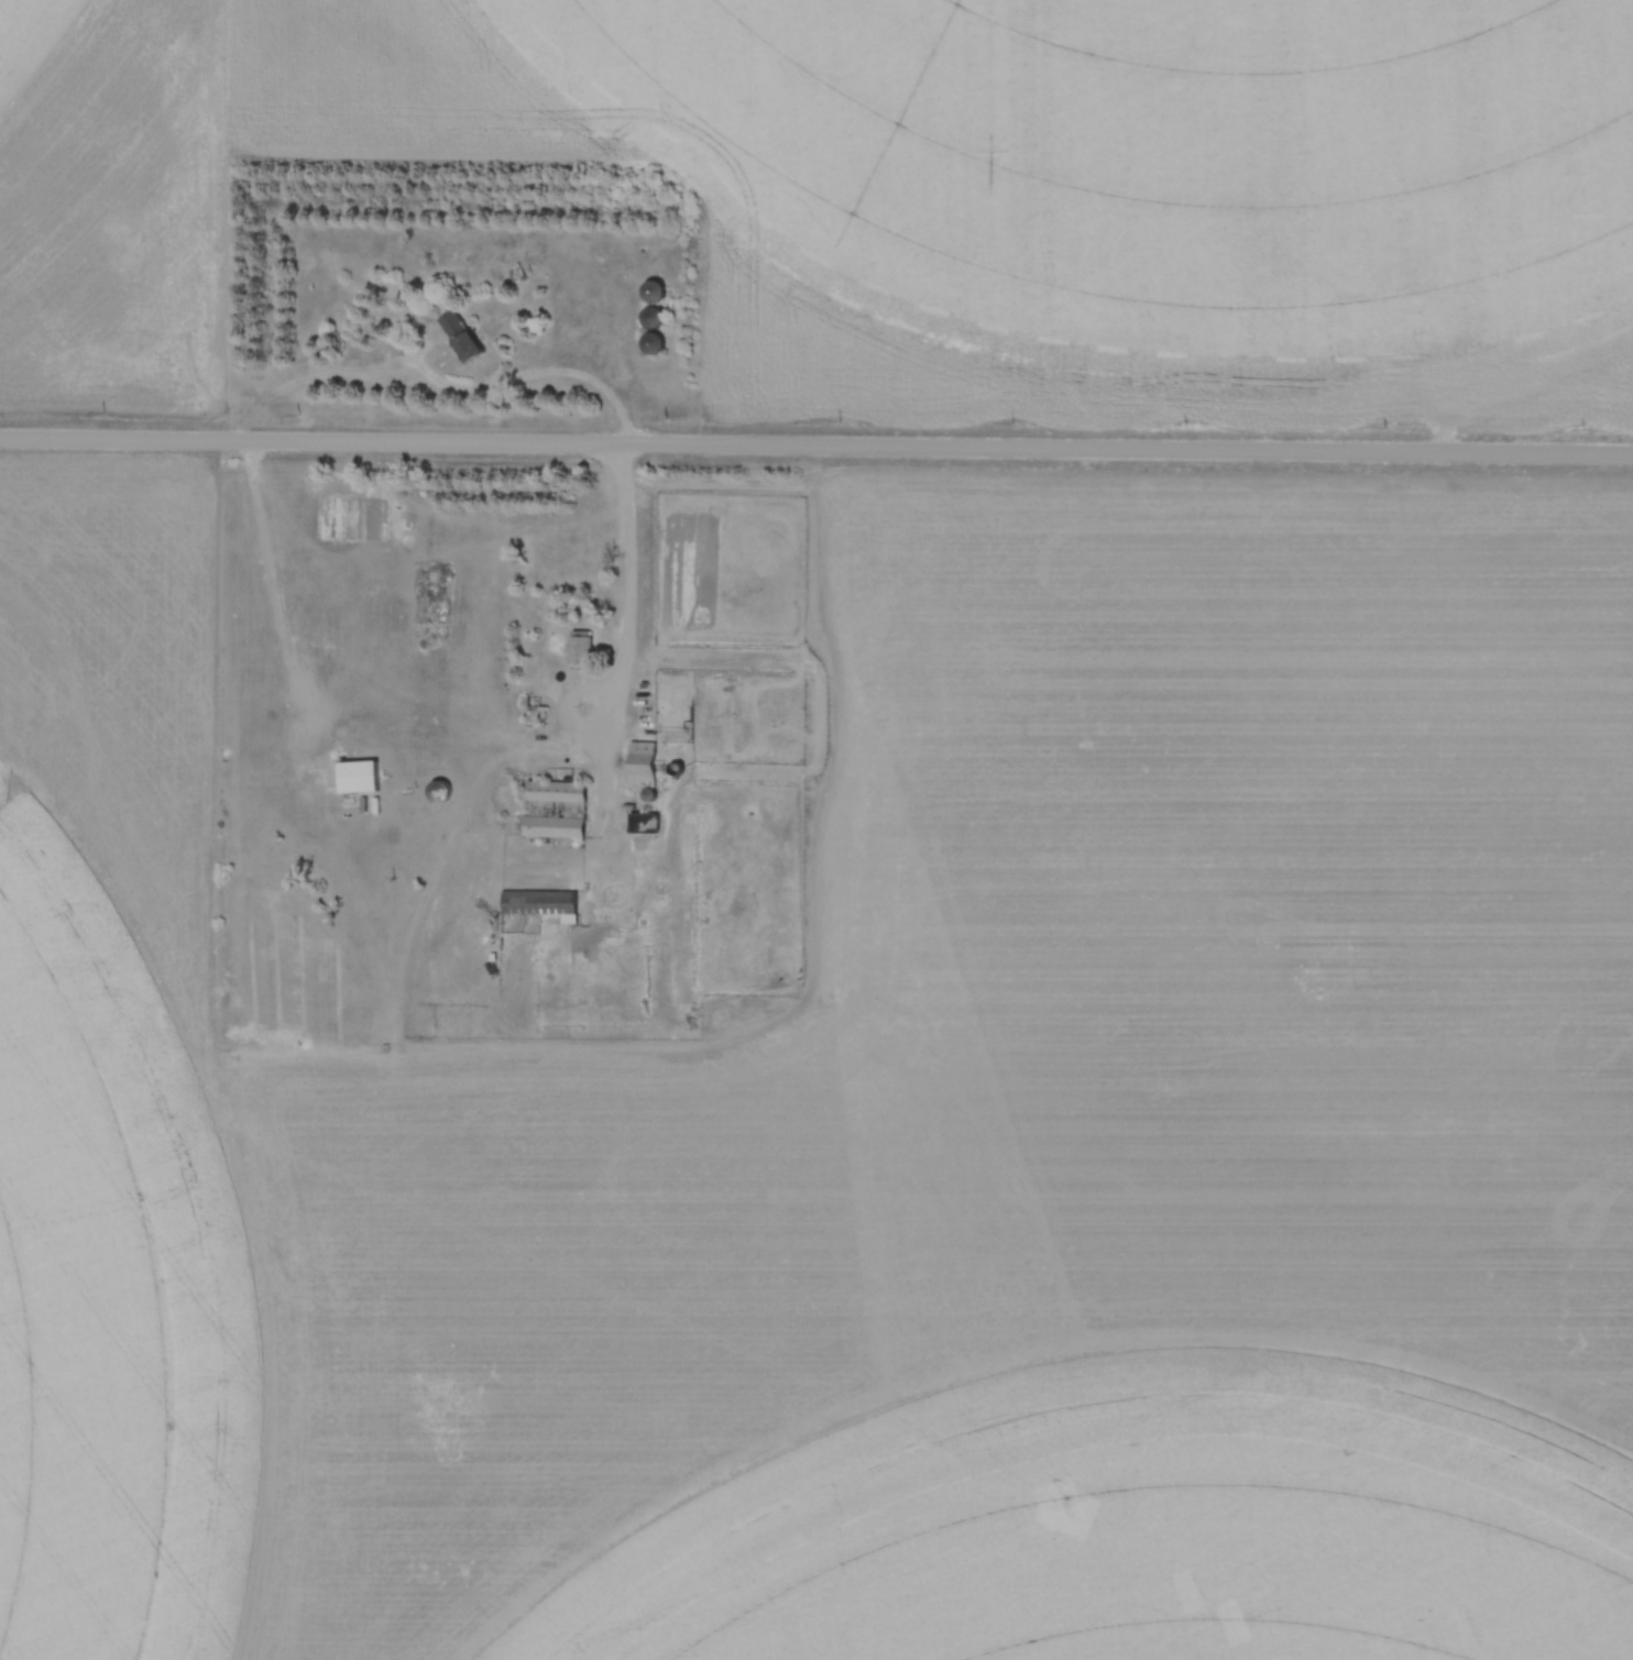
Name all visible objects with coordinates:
building: (659, 293)
silo: (659, 293)
building: (659, 319)
silo: (659, 319)
building: (454, 338)
building: (658, 345)
silo: (658, 345)
road: (625, 446)
road: (815, 447)
building: (579, 649)
building: (642, 767)
building: (357, 778)
building: (438, 794)
building: (554, 812)
building: (643, 825)
building: (538, 904)

